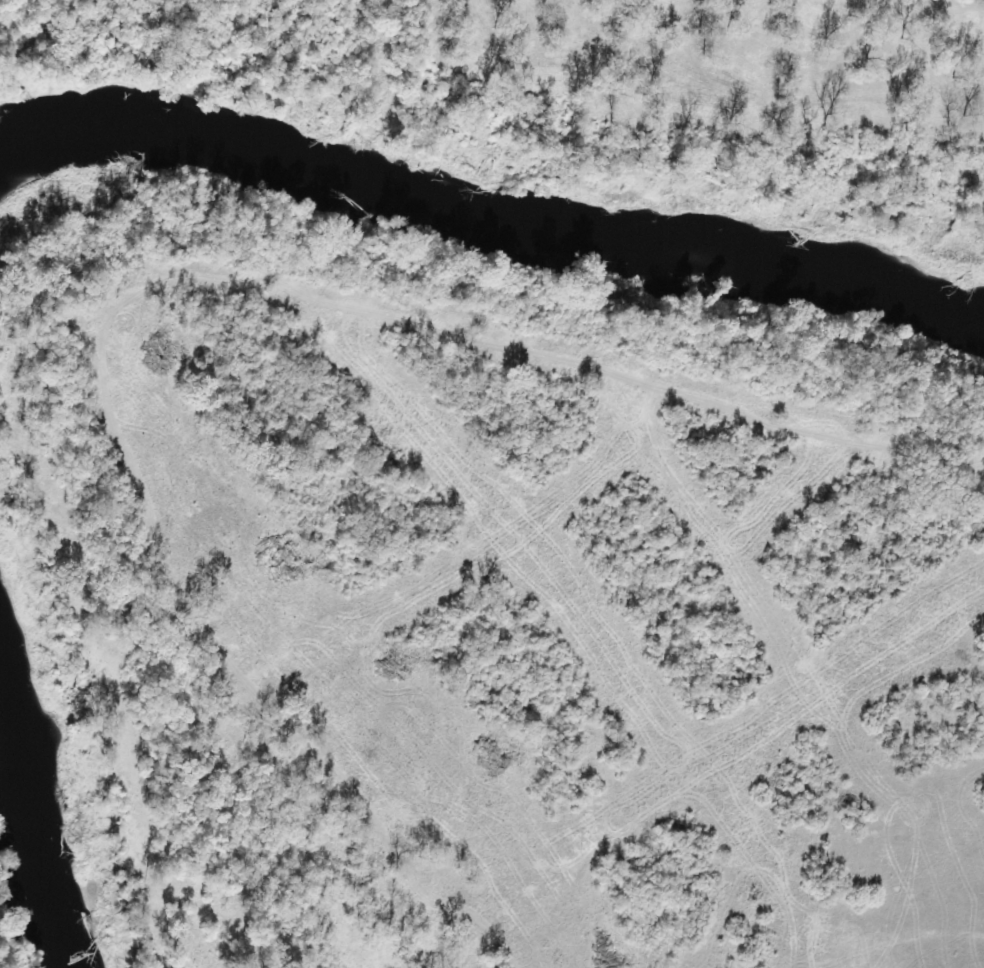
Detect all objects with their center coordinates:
river: (489, 208)
river: (45, 809)

